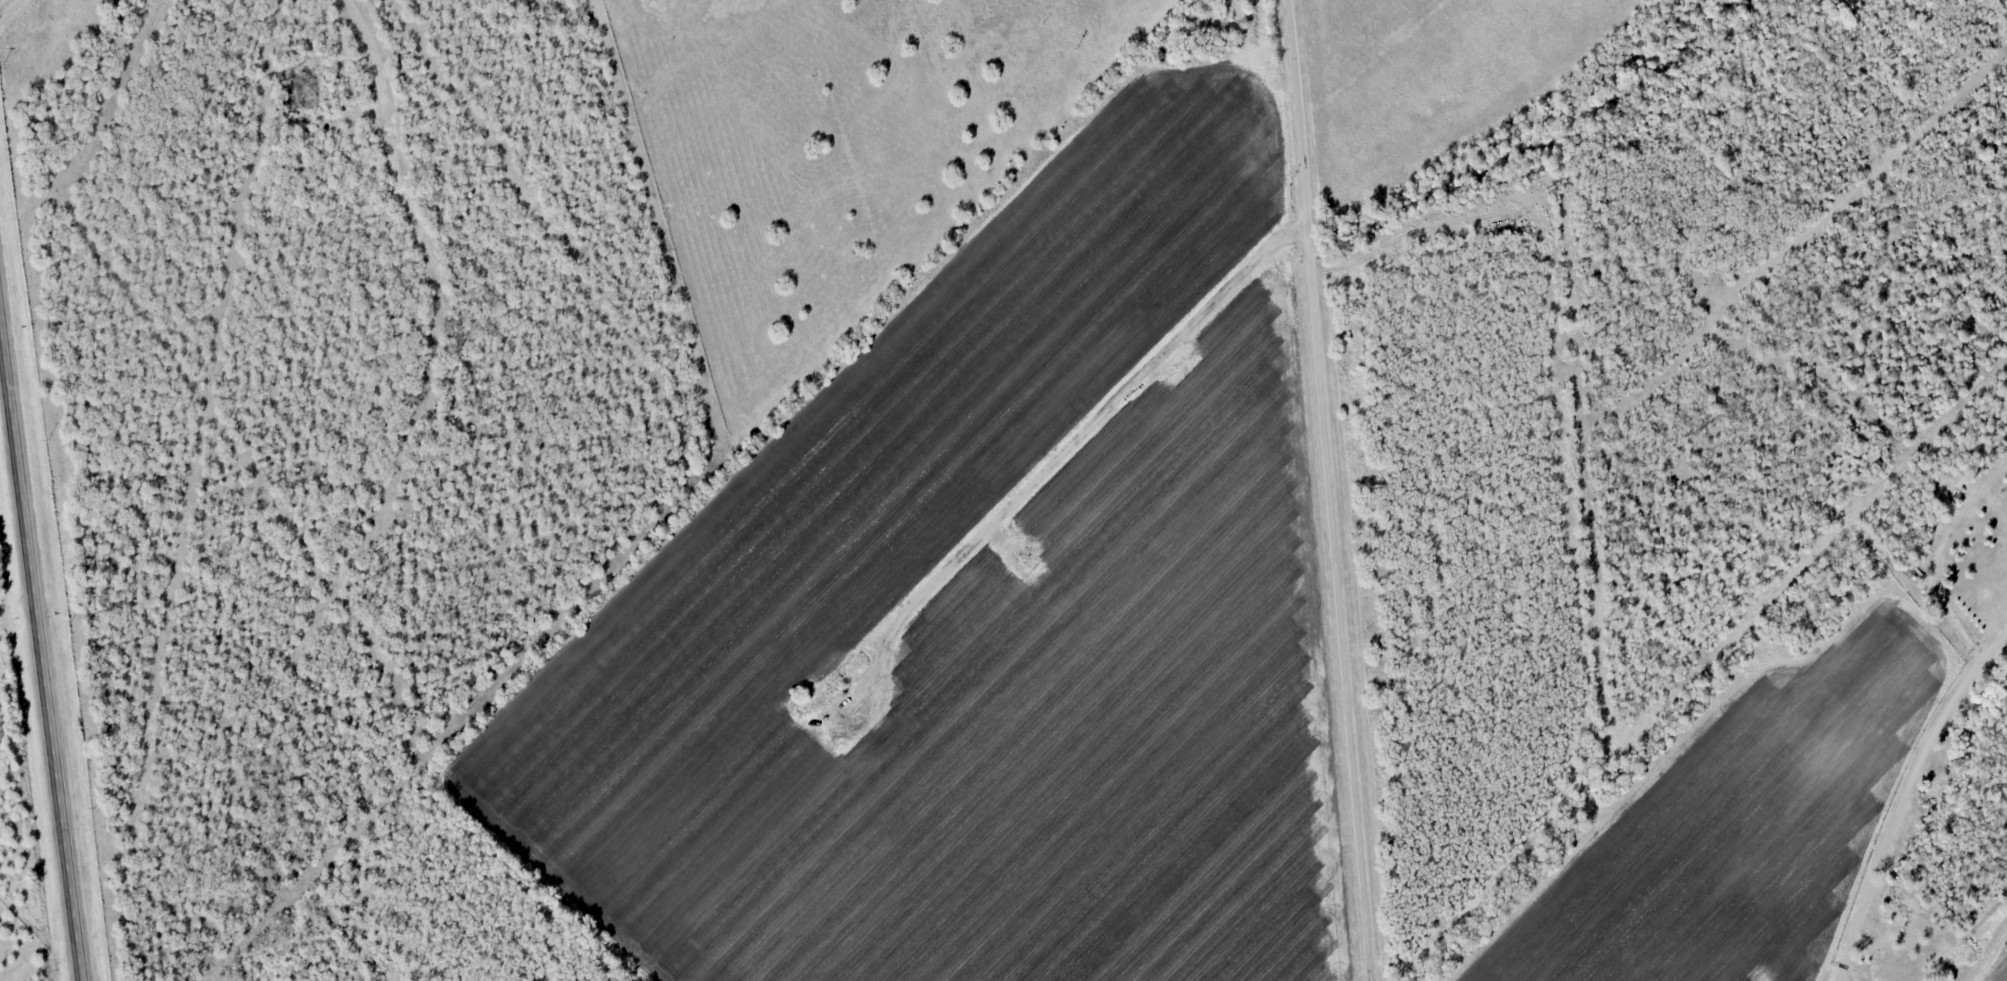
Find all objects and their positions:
road: (5, 5)
road: (1336, 490)
road: (41, 642)
road: (1892, 799)

